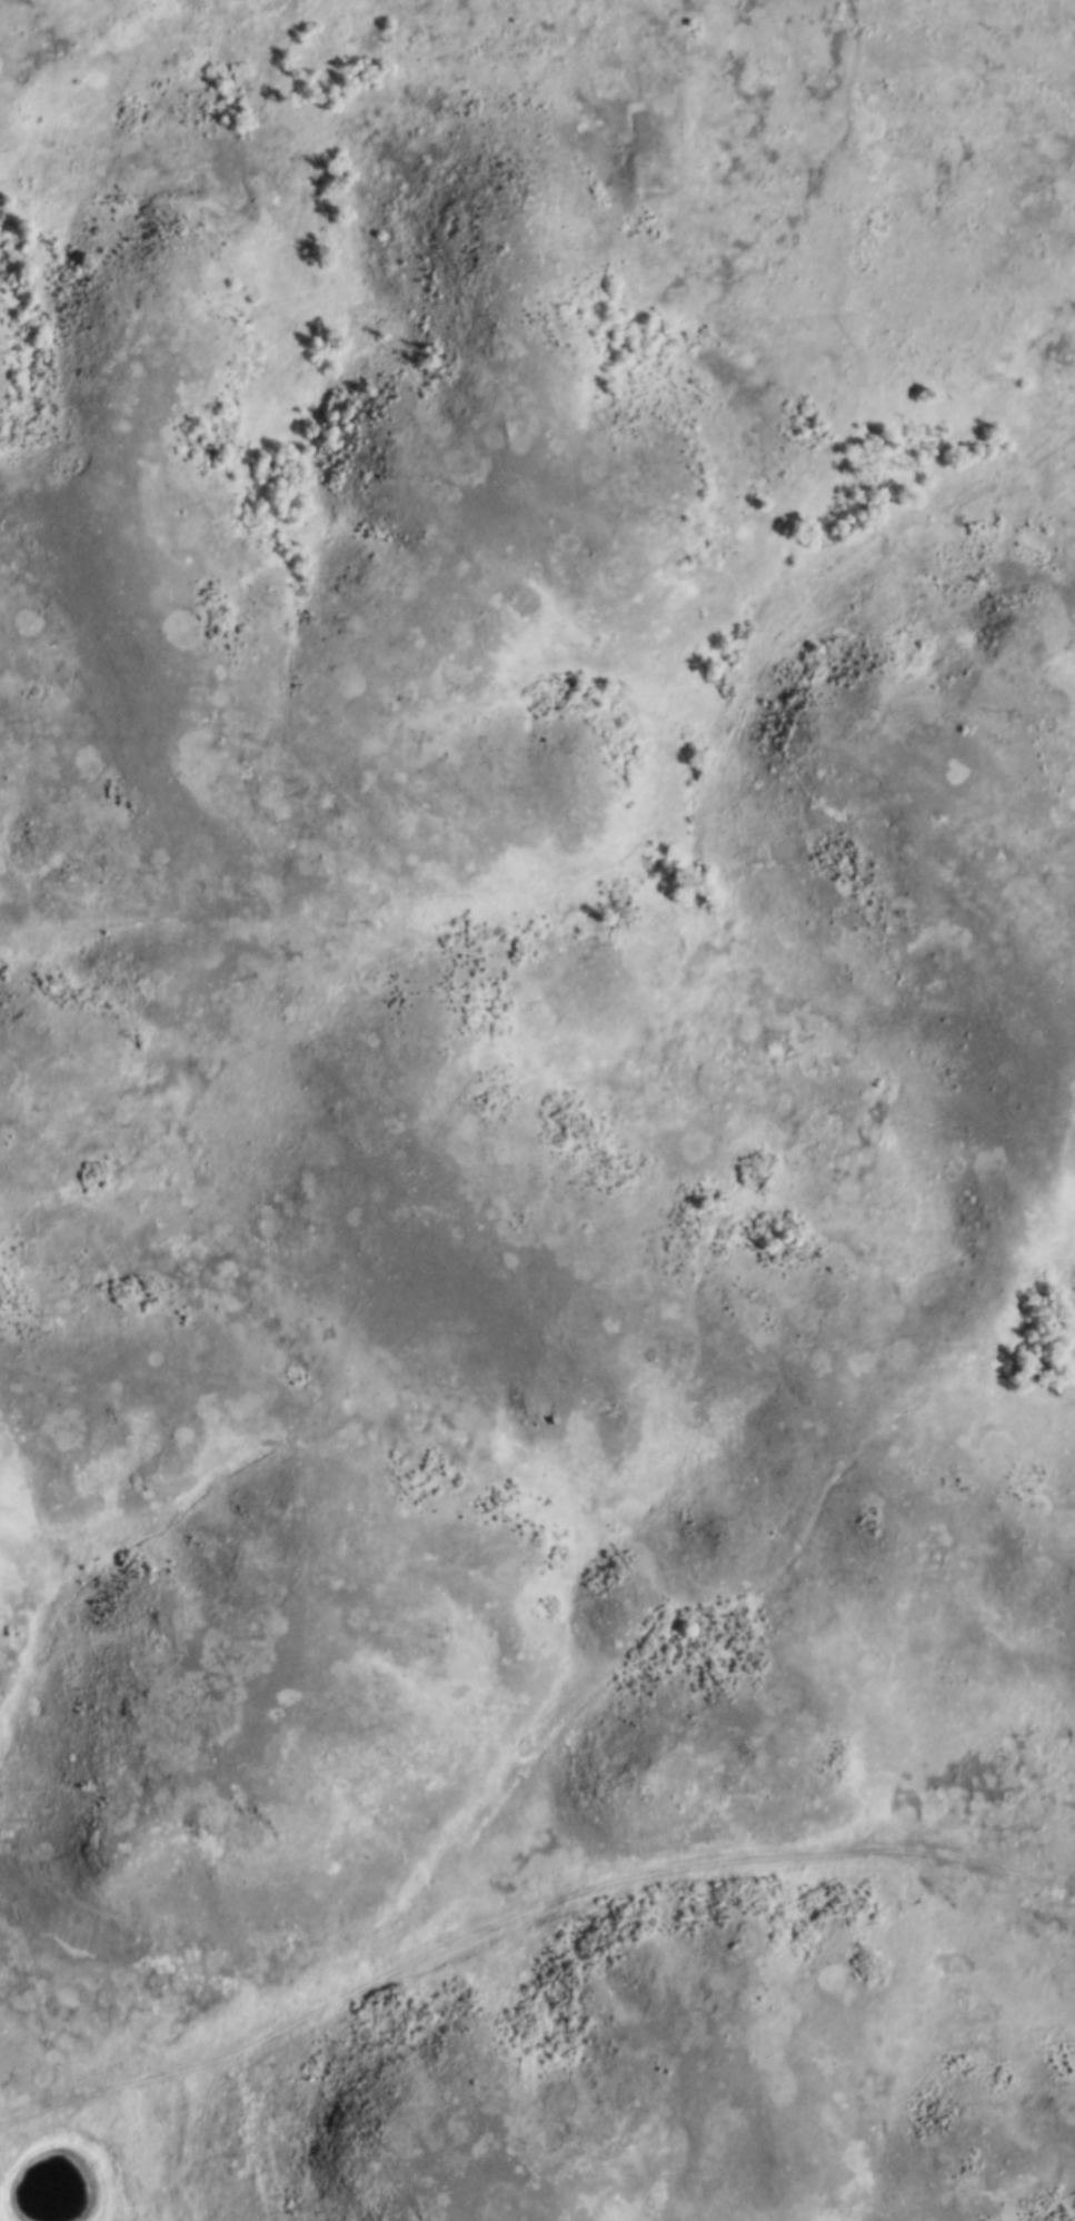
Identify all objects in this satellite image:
road: (31, 2121)

